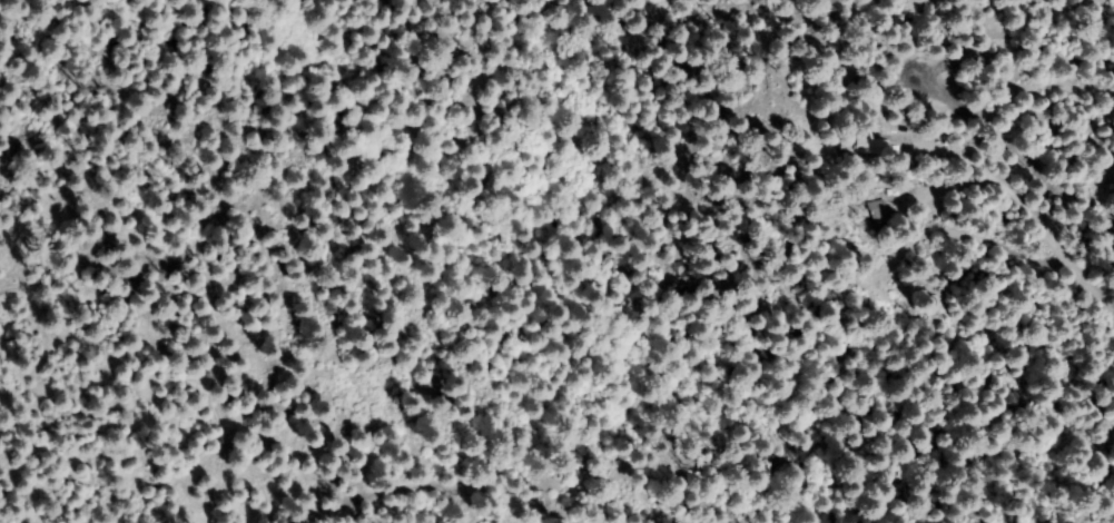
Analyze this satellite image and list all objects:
building: (861, 148)
building: (876, 210)
road: (376, 475)

